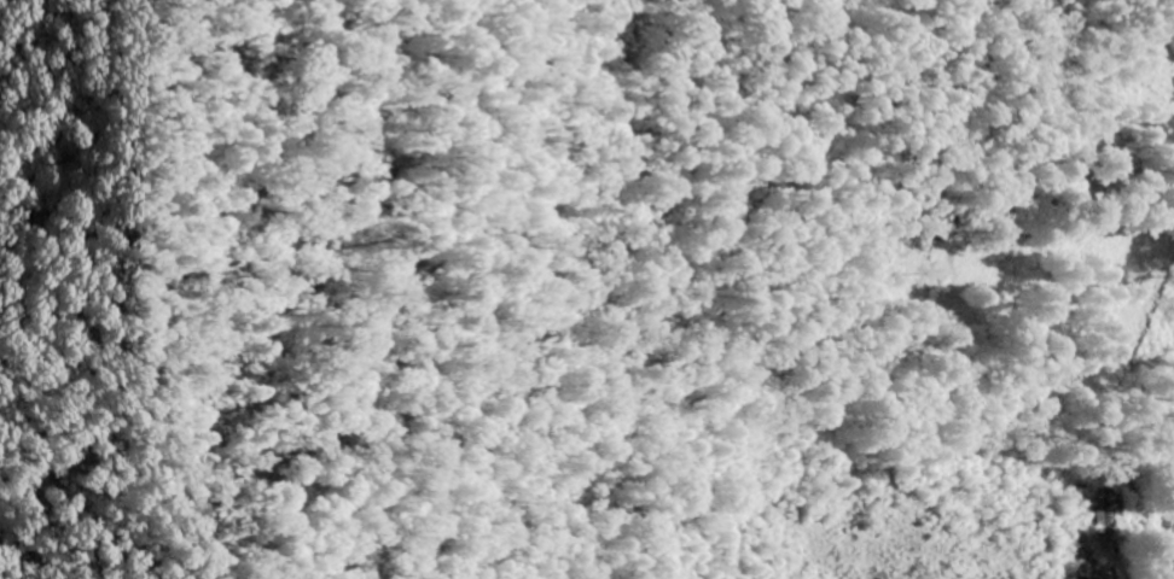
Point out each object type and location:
building: (1103, 514)

